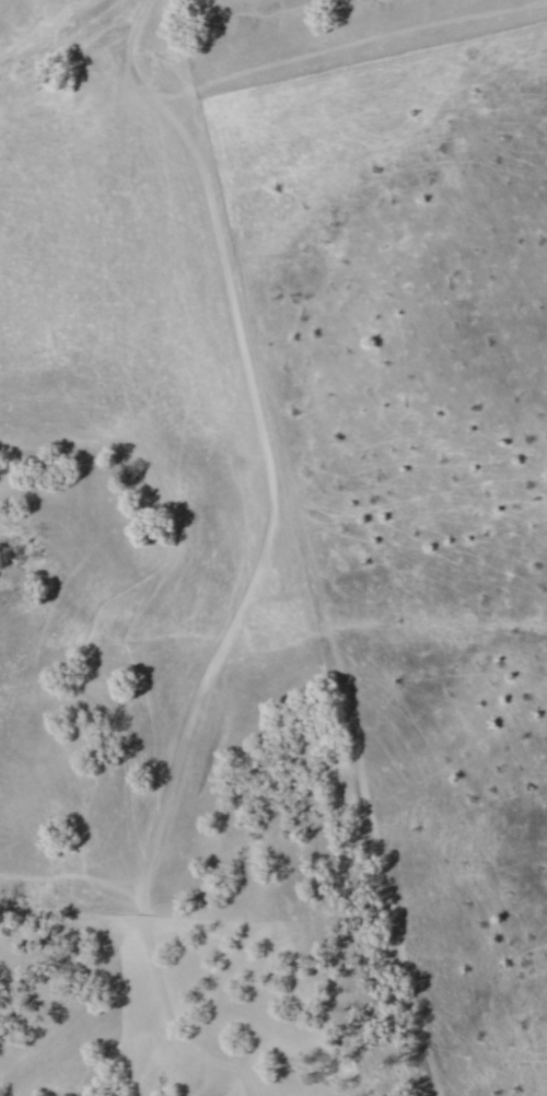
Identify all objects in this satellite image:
road: (263, 561)

